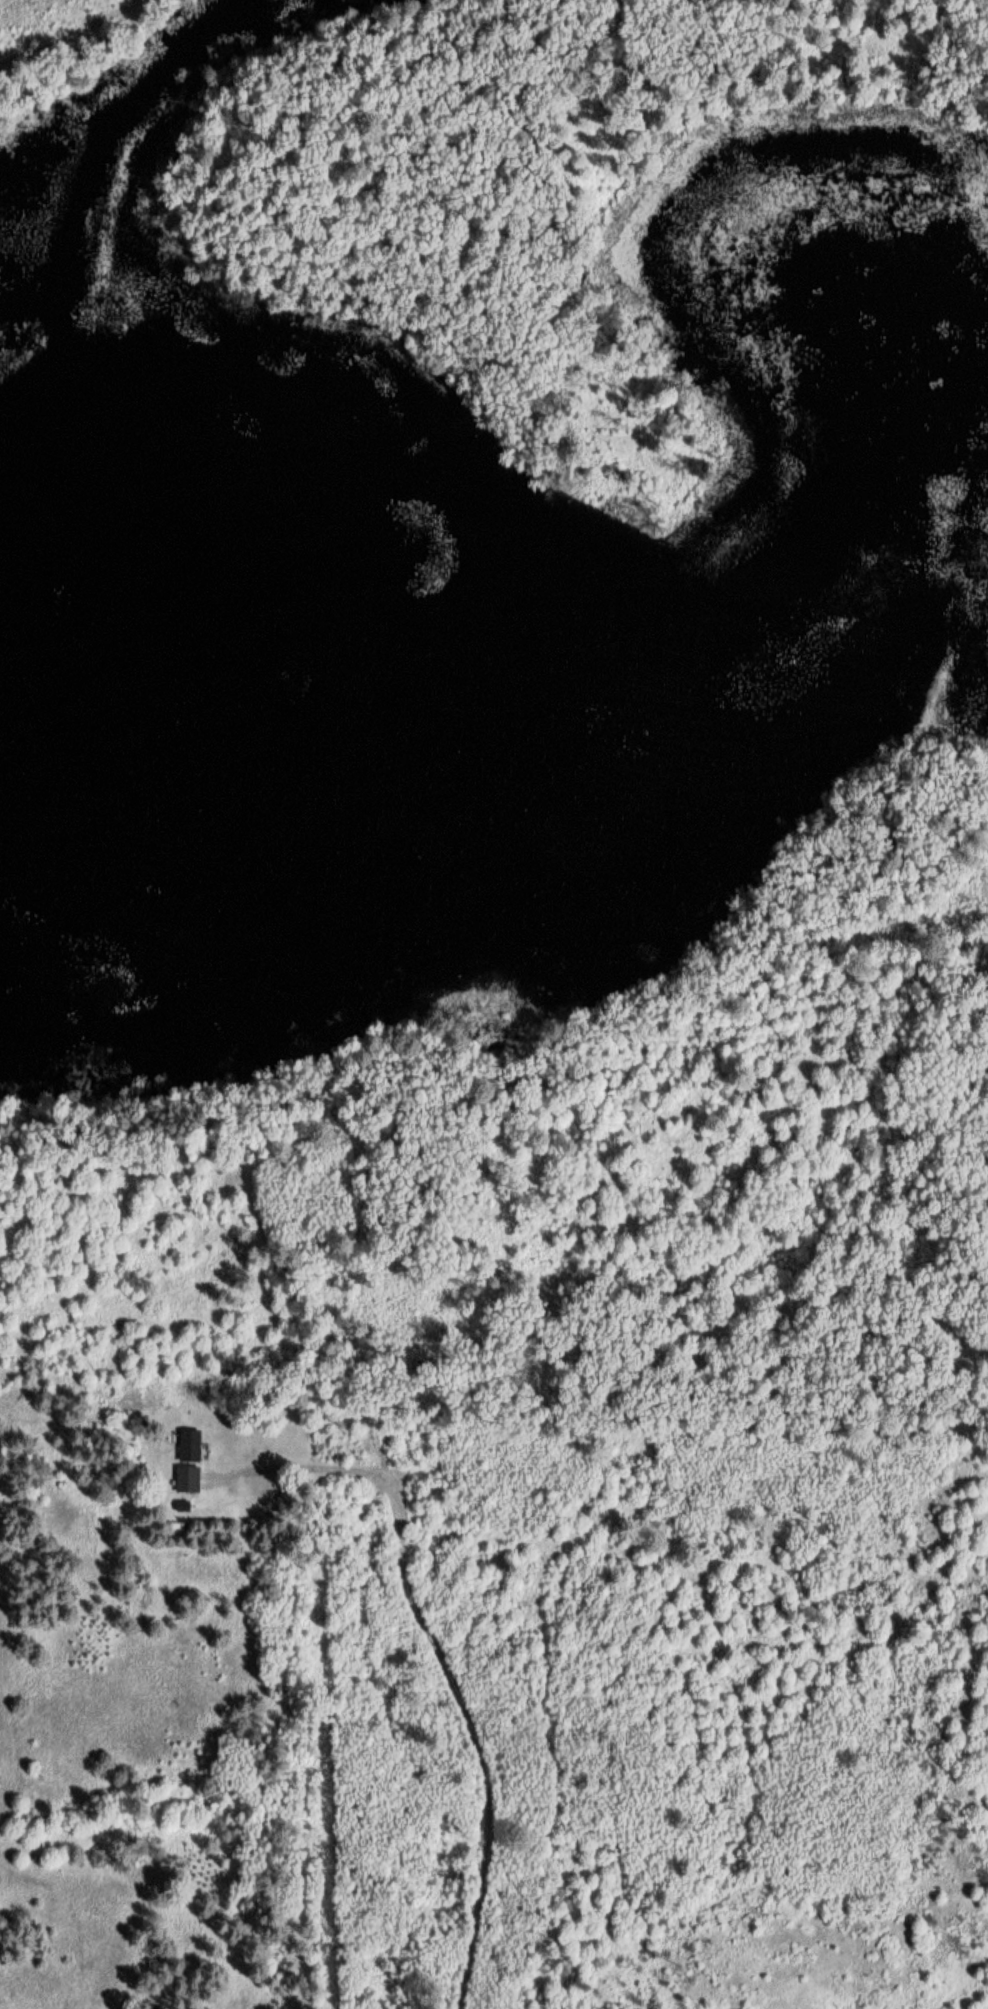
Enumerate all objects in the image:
park: (62, 41)
building: (191, 1445)
building: (189, 1478)
road: (872, 1976)

